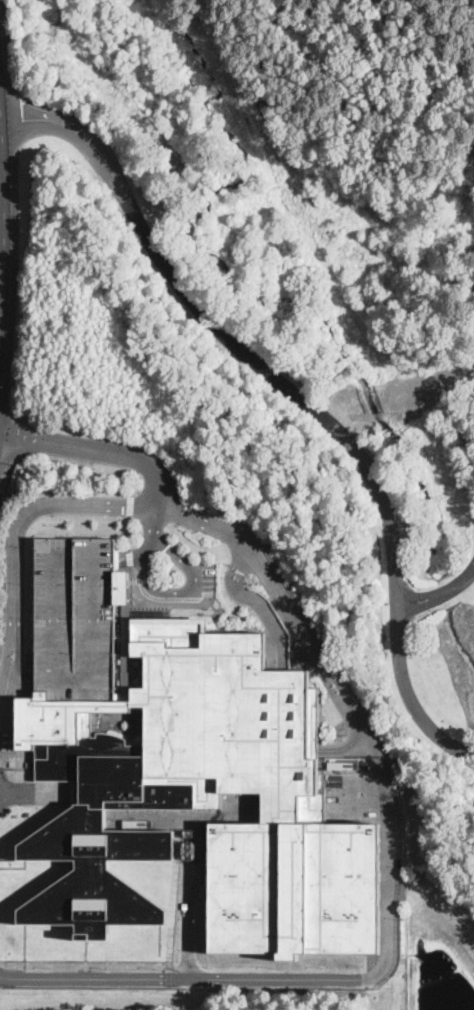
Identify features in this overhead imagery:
road: (5, 217)
road: (297, 394)
road: (6, 397)
traffic signals: (19, 432)
road: (21, 439)
road: (100, 445)
road: (7, 454)
road: (75, 459)
road: (156, 524)
road: (177, 593)
road: (440, 593)
building: (75, 617)
parking garage: (75, 617)
road: (356, 712)
building: (226, 721)
building: (60, 722)
building: (104, 843)
building: (294, 886)

